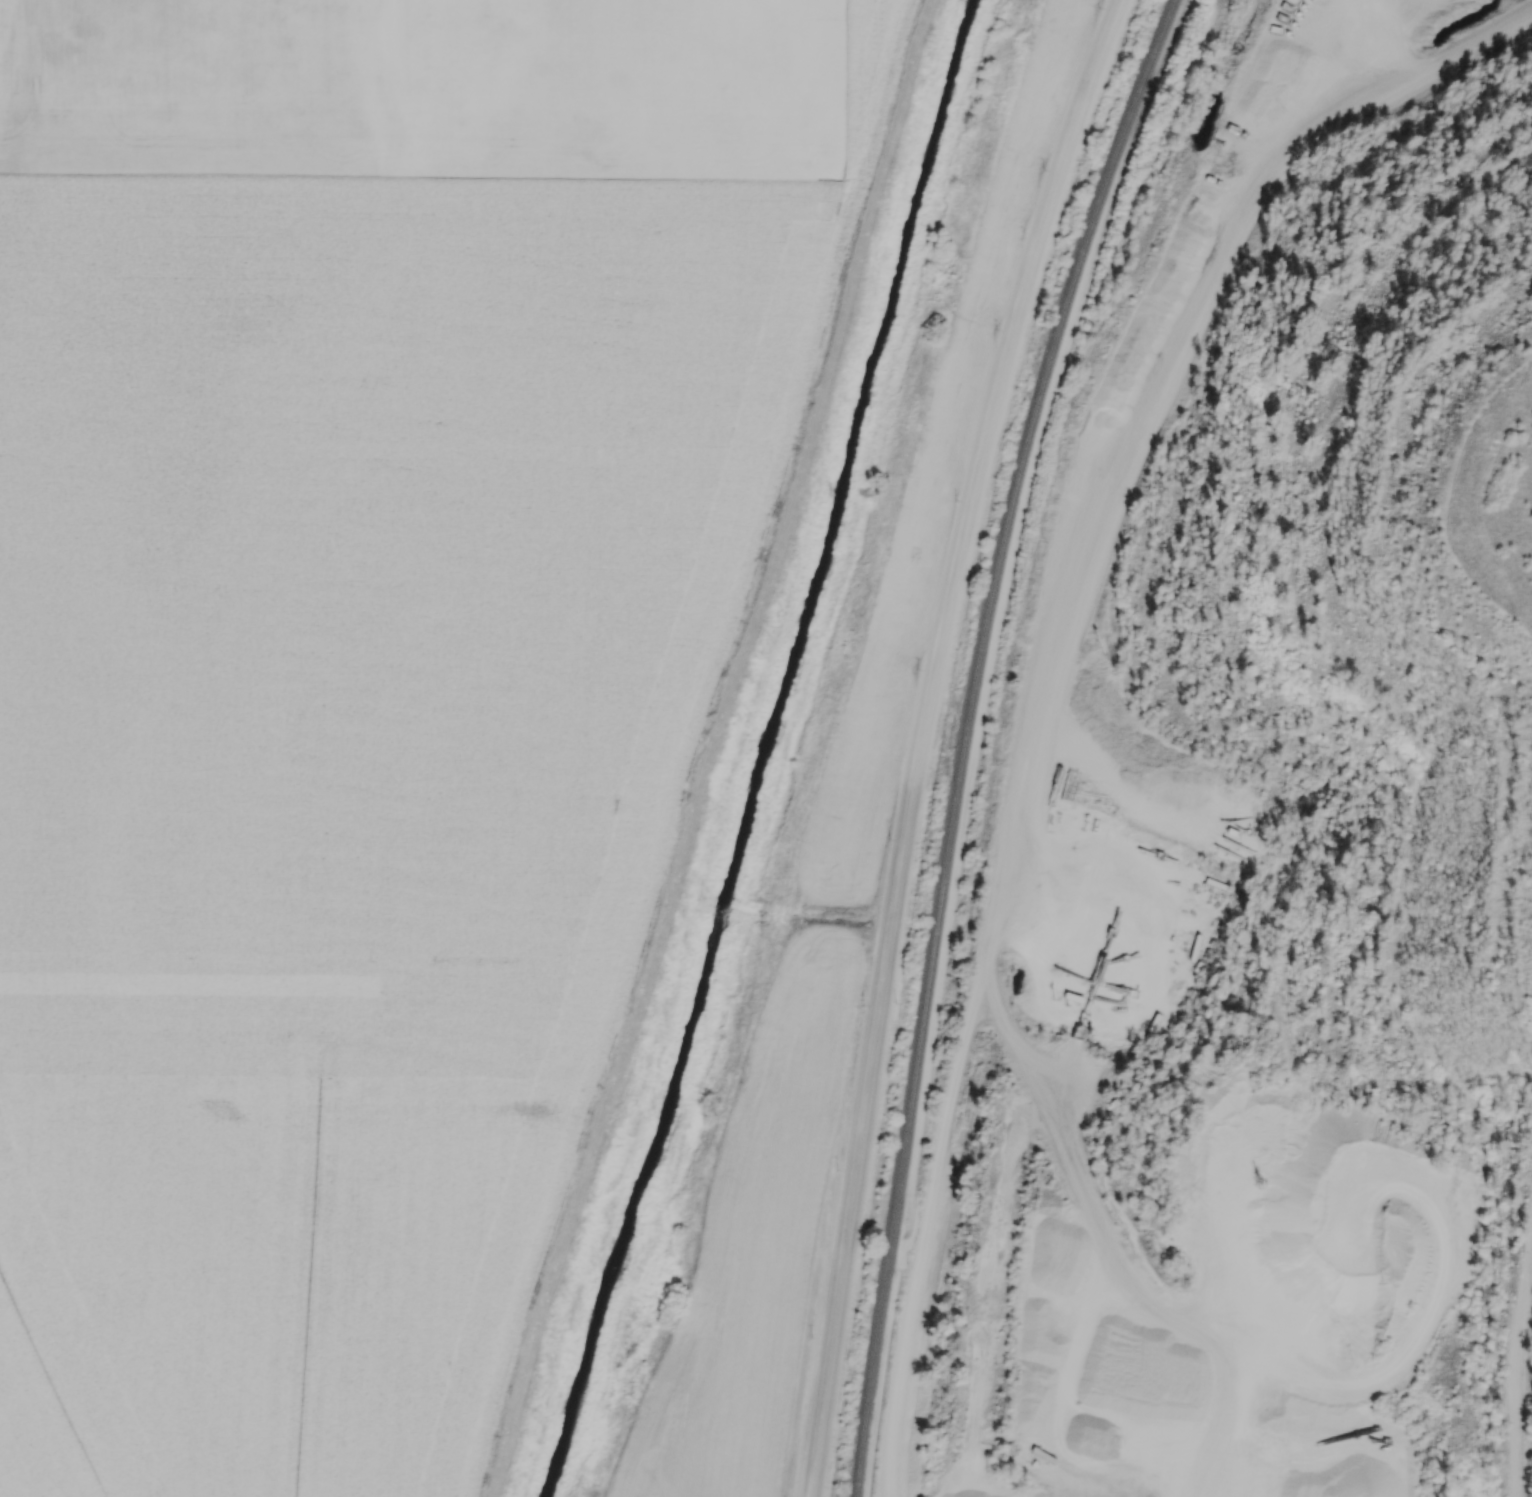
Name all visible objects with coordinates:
quarry: (1501, 367)
railway: (965, 736)
road: (927, 739)
river: (765, 748)
road: (1519, 1393)

